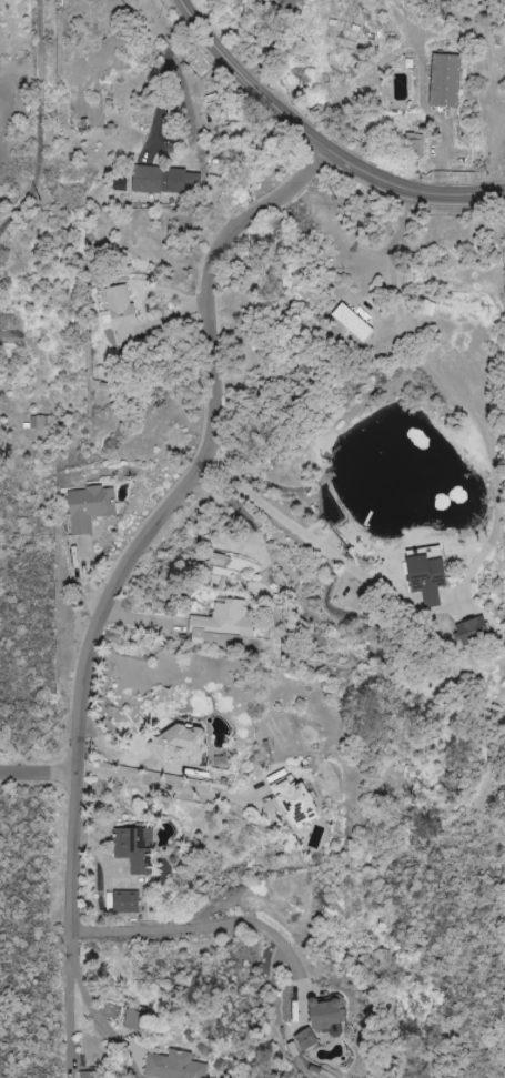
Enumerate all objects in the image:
road: (272, 43)
road: (165, 80)
building: (447, 80)
road: (43, 125)
road: (317, 141)
building: (164, 179)
building: (124, 314)
building: (357, 324)
road: (462, 399)
building: (92, 507)
road: (156, 526)
road: (321, 545)
building: (431, 577)
building: (224, 625)
building: (475, 631)
road: (39, 773)
road: (166, 784)
building: (299, 800)
building: (138, 848)
building: (128, 901)
road: (201, 926)
building: (330, 1014)
road: (69, 1015)
road: (101, 1018)
building: (137, 1020)
building: (309, 1039)
building: (176, 1066)
building: (91, 1075)

